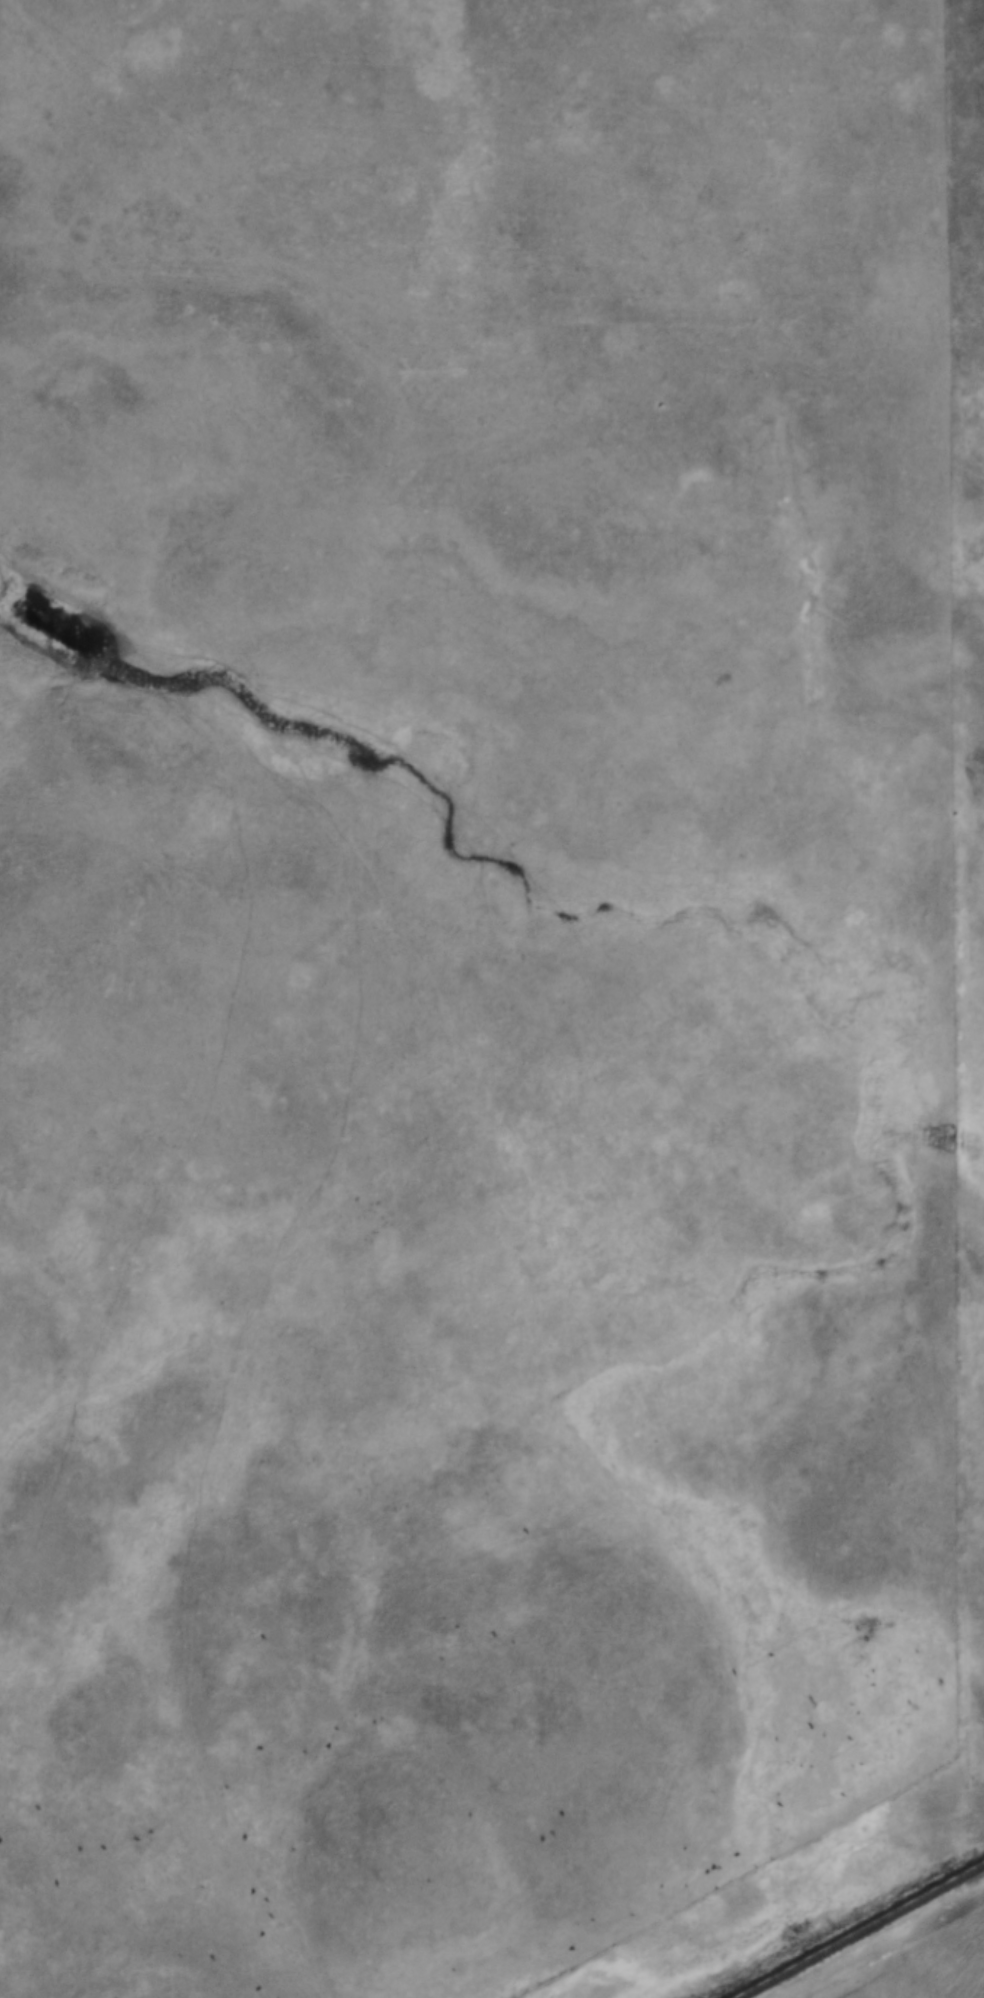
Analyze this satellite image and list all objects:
railway: (881, 1943)

